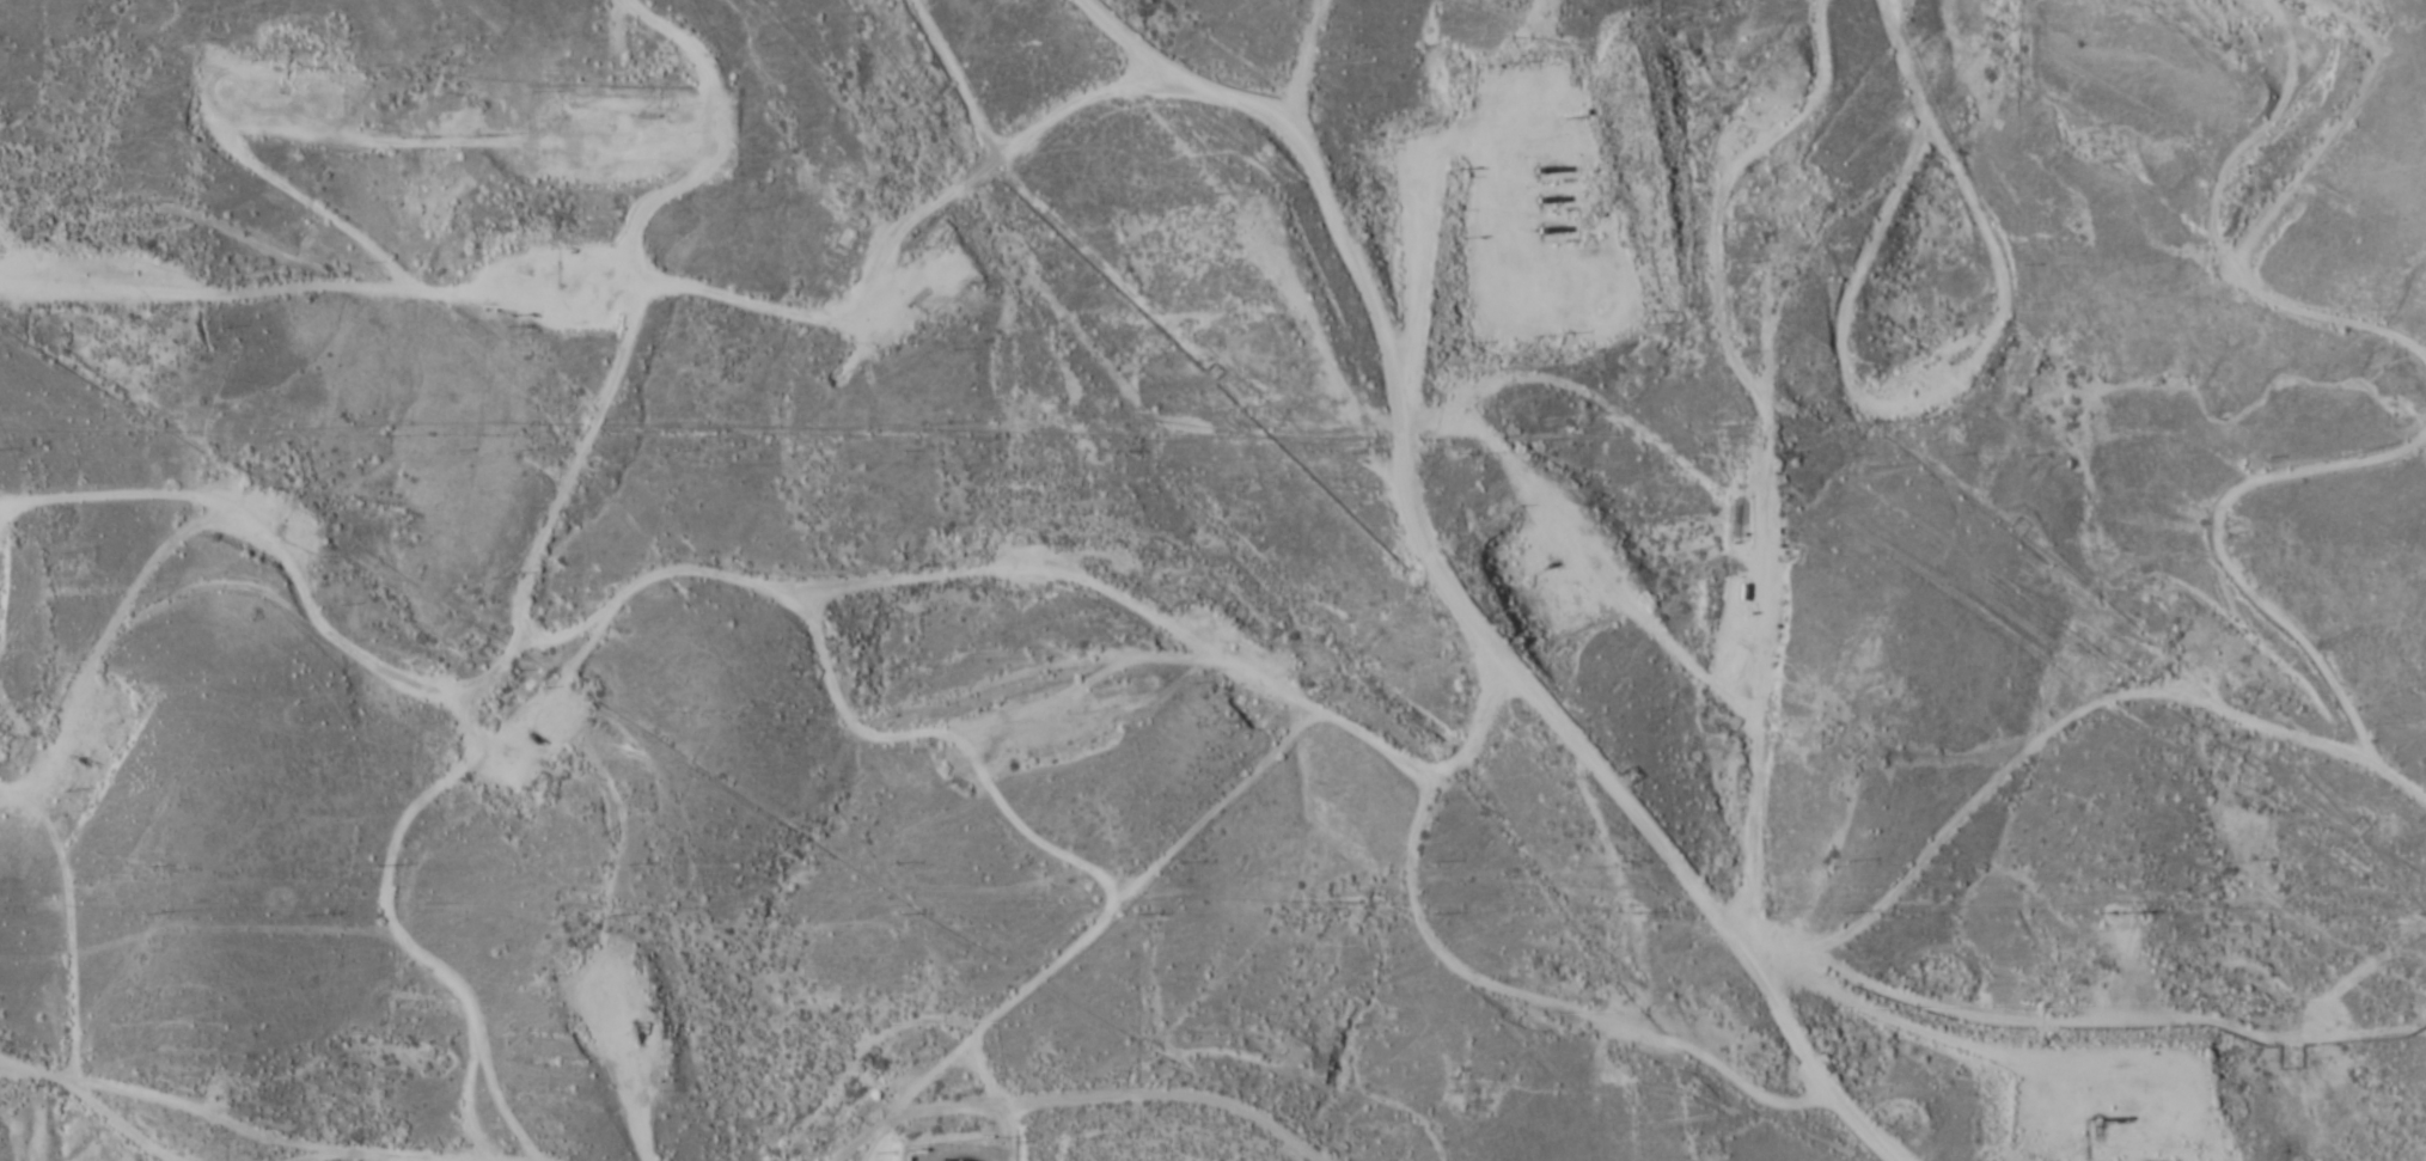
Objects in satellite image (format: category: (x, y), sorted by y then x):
road: (1413, 603)
road: (1055, 1118)
road: (511, 1151)

